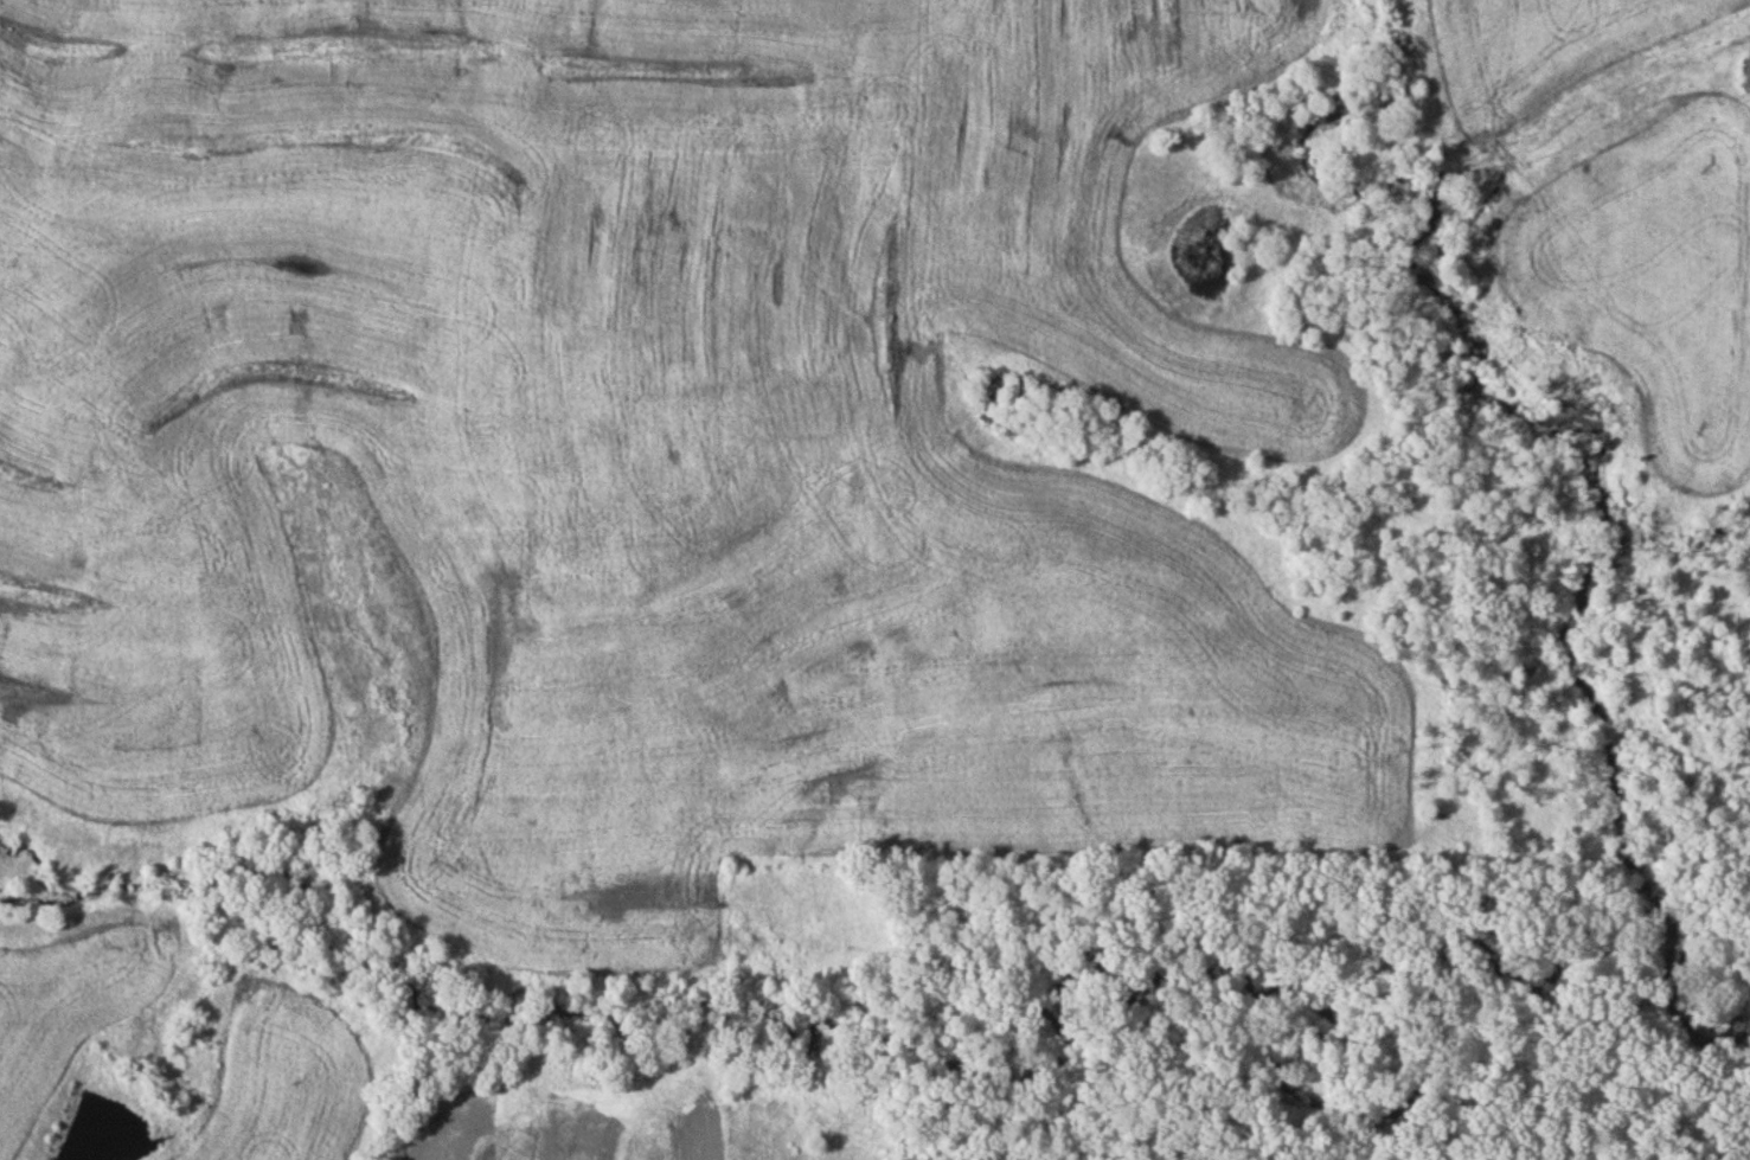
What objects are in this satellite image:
building: (1746, 72)

